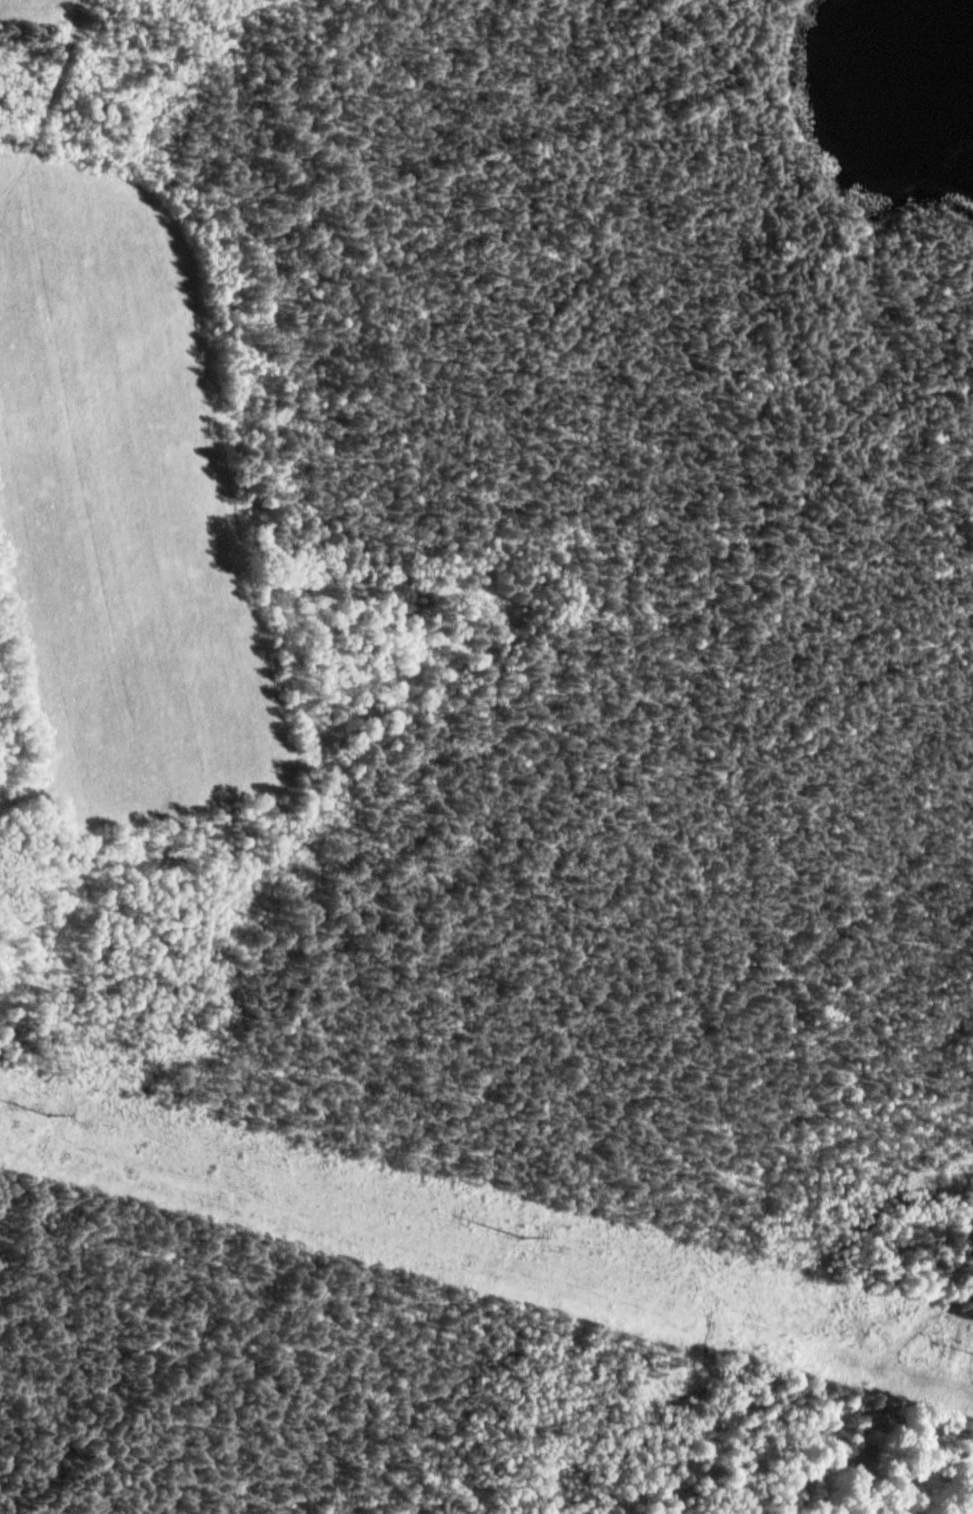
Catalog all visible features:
power tower: (46, 1114)
power tower: (515, 1238)

